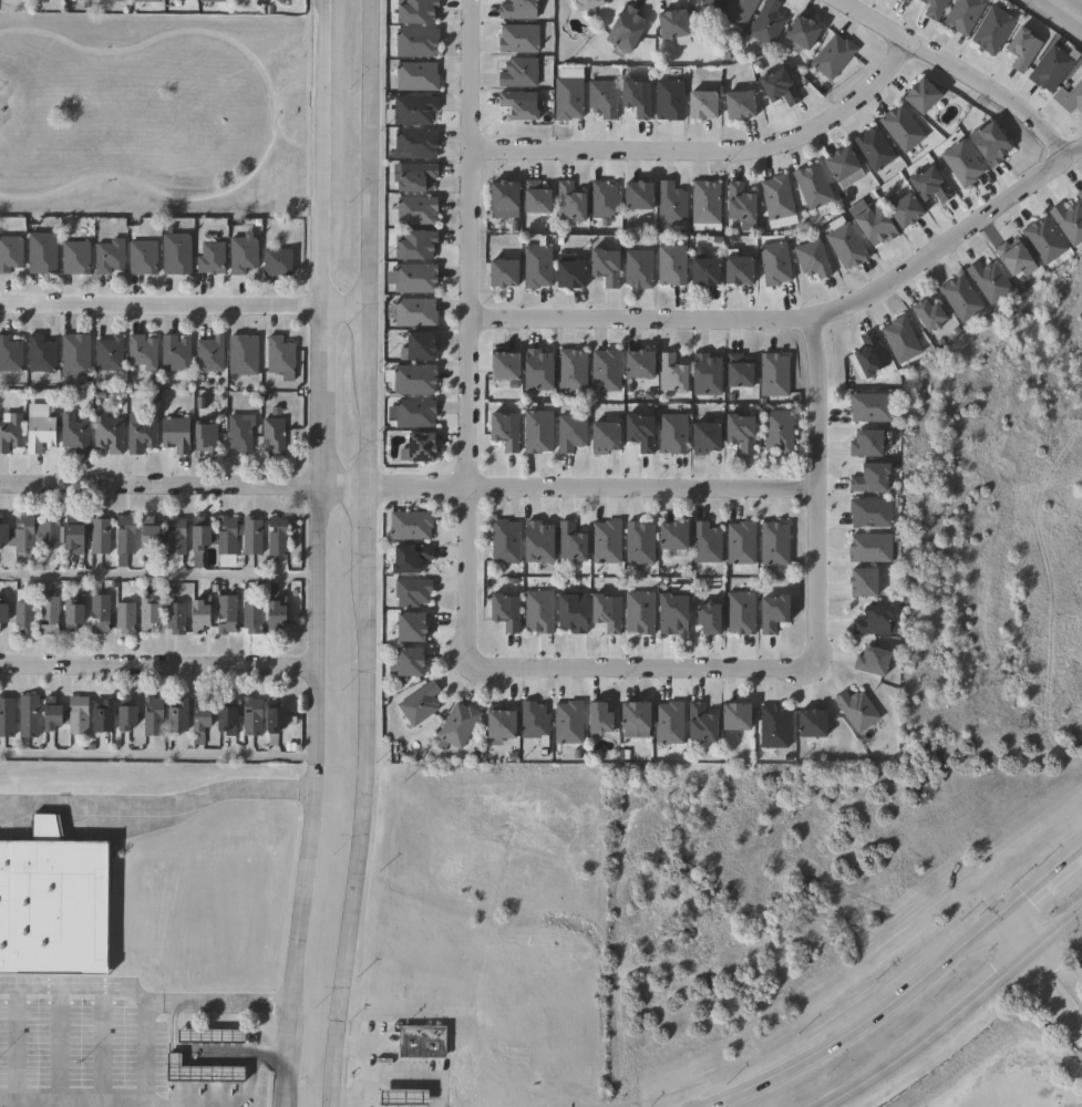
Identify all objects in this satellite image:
building: (107, 0)
building: (141, 1)
building: (208, 1)
building: (272, 1)
building: (903, 1)
building: (707, 3)
building: (584, 4)
road: (1070, 8)
building: (935, 9)
building: (516, 10)
building: (412, 11)
building: (736, 11)
building: (961, 15)
building: (765, 23)
building: (669, 24)
building: (624, 30)
building: (991, 31)
building: (800, 32)
building: (516, 39)
building: (414, 43)
building: (1021, 50)
building: (832, 56)
building: (1049, 70)
road: (954, 72)
building: (517, 74)
building: (414, 76)
road: (286, 85)
building: (776, 89)
building: (567, 95)
building: (918, 96)
building: (600, 99)
building: (633, 99)
building: (1073, 99)
building: (667, 101)
building: (516, 105)
building: (699, 105)
building: (736, 105)
building: (412, 110)
road: (272, 113)
park: (151, 114)
building: (900, 130)
road: (286, 141)
building: (413, 145)
building: (988, 145)
building: (872, 149)
road: (303, 151)
road: (705, 151)
building: (838, 164)
building: (960, 164)
building: (412, 177)
building: (928, 186)
building: (811, 187)
building: (635, 197)
building: (1079, 197)
building: (775, 198)
building: (533, 199)
building: (501, 200)
building: (601, 200)
building: (567, 203)
building: (738, 204)
building: (670, 206)
building: (704, 207)
building: (414, 211)
building: (903, 211)
building: (1068, 223)
building: (873, 226)
building: (1043, 241)
building: (844, 245)
building: (413, 246)
building: (11, 254)
building: (43, 254)
building: (169, 255)
building: (237, 256)
building: (106, 257)
building: (78, 259)
building: (137, 259)
building: (205, 259)
building: (1011, 259)
building: (811, 260)
building: (271, 263)
building: (773, 265)
building: (669, 267)
building: (534, 268)
building: (601, 268)
building: (636, 270)
building: (734, 272)
building: (701, 273)
building: (498, 275)
building: (566, 277)
building: (413, 279)
building: (988, 282)
building: (959, 300)
road: (157, 302)
road: (341, 302)
building: (413, 313)
building: (926, 315)
road: (801, 318)
road: (465, 331)
building: (899, 341)
building: (416, 348)
building: (137, 353)
building: (171, 353)
building: (11, 355)
building: (42, 355)
building: (103, 355)
building: (205, 355)
building: (238, 355)
building: (275, 355)
building: (73, 356)
building: (868, 356)
building: (636, 366)
building: (501, 368)
building: (604, 371)
building: (535, 372)
building: (570, 372)
building: (735, 373)
building: (669, 375)
building: (704, 376)
building: (772, 376)
building: (409, 381)
building: (868, 405)
building: (410, 415)
building: (41, 432)
building: (776, 432)
building: (11, 433)
building: (137, 433)
building: (502, 433)
building: (536, 433)
building: (75, 434)
building: (109, 434)
building: (171, 434)
building: (235, 434)
building: (569, 434)
building: (637, 434)
building: (738, 434)
building: (671, 435)
building: (199, 436)
building: (268, 436)
building: (601, 439)
building: (702, 439)
building: (865, 442)
building: (416, 449)
building: (868, 476)
road: (162, 489)
road: (589, 489)
road: (813, 489)
road: (346, 490)
building: (869, 511)
building: (408, 525)
building: (50, 534)
building: (4, 535)
building: (24, 535)
building: (171, 535)
building: (246, 535)
building: (669, 535)
building: (101, 536)
building: (271, 536)
building: (78, 537)
building: (120, 538)
building: (143, 538)
building: (197, 540)
building: (503, 540)
building: (568, 540)
building: (605, 541)
building: (535, 542)
building: (638, 542)
building: (705, 542)
building: (739, 542)
building: (773, 542)
building: (868, 547)
road: (323, 553)
road: (368, 555)
building: (406, 557)
road: (161, 576)
building: (861, 581)
building: (410, 591)
building: (66, 611)
building: (503, 611)
building: (537, 611)
building: (570, 611)
building: (605, 611)
building: (638, 612)
building: (670, 612)
building: (739, 612)
building: (771, 612)
building: (2, 613)
building: (94, 613)
building: (194, 613)
building: (221, 613)
building: (270, 613)
building: (142, 614)
building: (43, 615)
building: (19, 617)
building: (120, 617)
building: (248, 617)
building: (705, 617)
building: (171, 618)
building: (870, 620)
building: (406, 625)
building: (404, 661)
building: (870, 661)
road: (159, 662)
road: (640, 666)
building: (418, 703)
building: (855, 710)
building: (72, 714)
building: (631, 714)
building: (32, 715)
building: (95, 715)
building: (147, 715)
building: (171, 715)
building: (732, 715)
building: (4, 716)
building: (118, 716)
building: (247, 716)
building: (596, 717)
building: (220, 718)
building: (269, 718)
building: (194, 721)
building: (533, 722)
building: (567, 722)
building: (668, 722)
building: (497, 723)
building: (698, 723)
building: (810, 723)
building: (455, 726)
building: (772, 726)
road: (161, 755)
road: (286, 788)
road: (128, 811)
building: (48, 903)
road: (1019, 929)
road: (1058, 976)
road: (86, 987)
road: (904, 995)
road: (231, 1003)
road: (955, 1010)
building: (204, 1036)
building: (419, 1042)
road: (13, 1045)
road: (55, 1046)
road: (101, 1046)
road: (216, 1055)
road: (1002, 1055)
road: (269, 1056)
road: (359, 1070)
building: (198, 1075)
road: (145, 1076)
road: (247, 1083)
parking lot: (1022, 1088)
road: (348, 1098)
building: (399, 1099)
road: (72, 1105)

